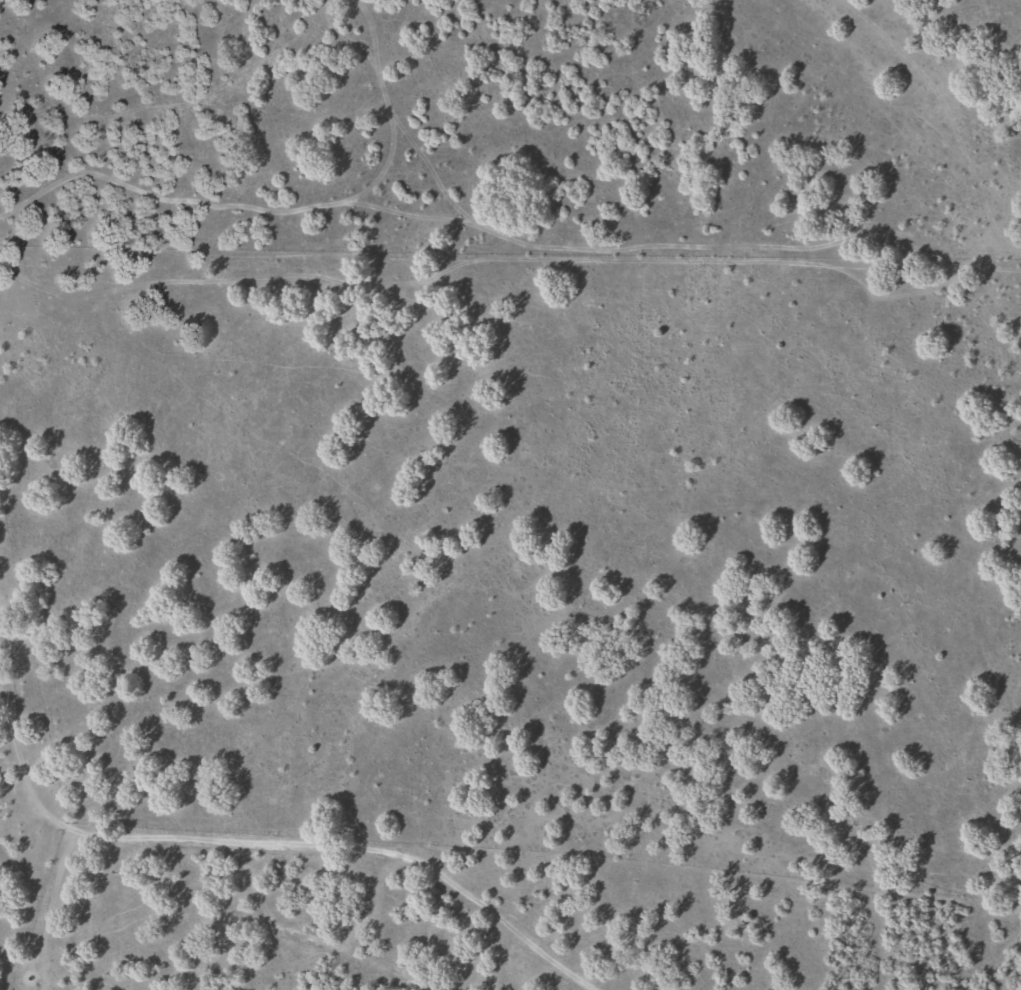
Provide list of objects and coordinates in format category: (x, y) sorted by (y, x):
road: (511, 294)
road: (305, 850)

